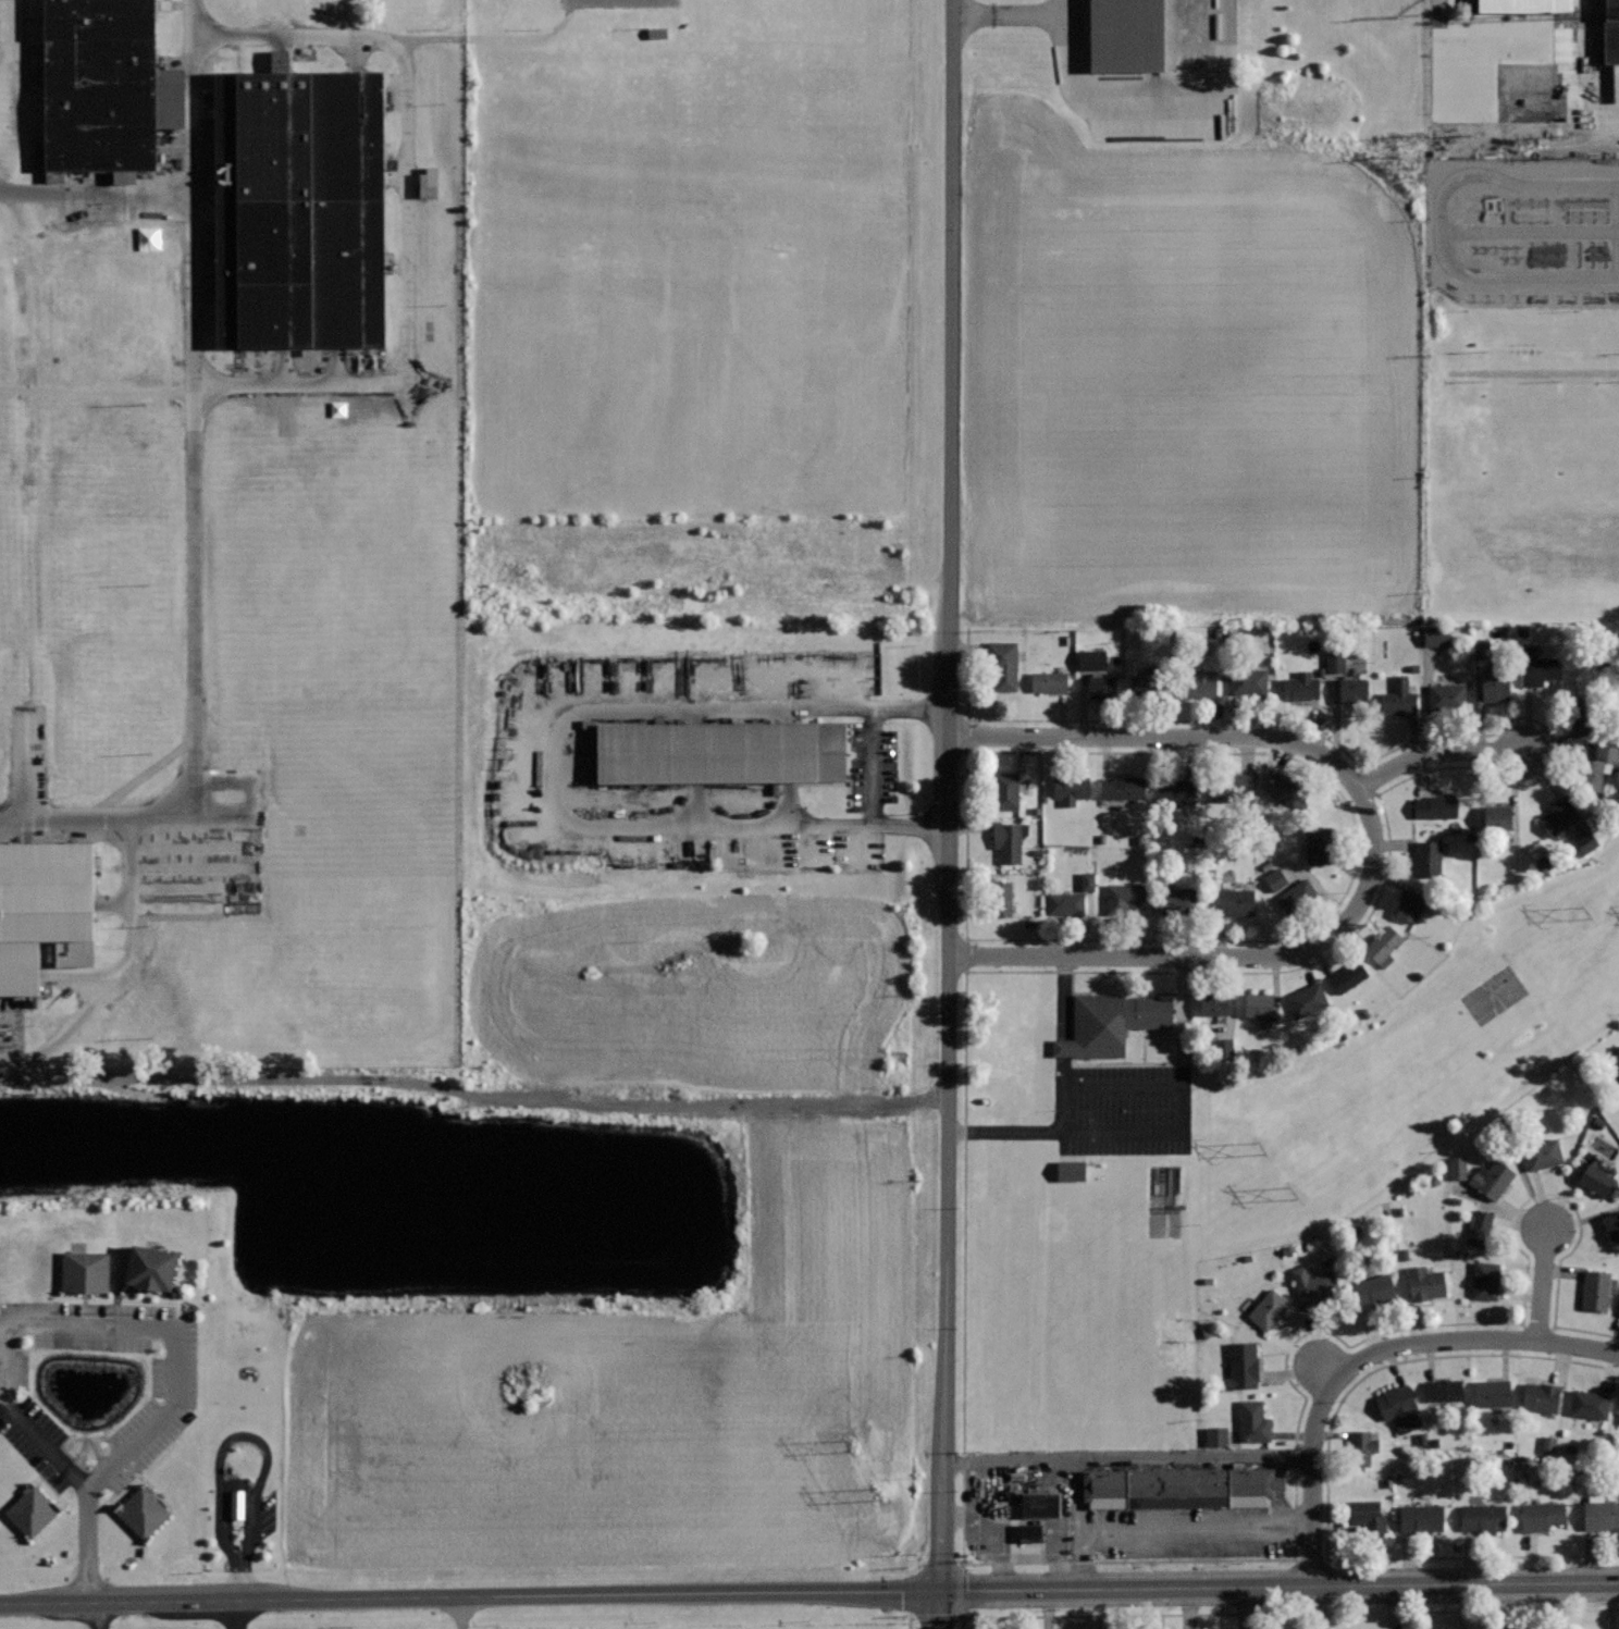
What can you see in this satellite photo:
park: (803, 1)
parking lot: (623, 4)
road: (1011, 16)
building: (1612, 28)
building: (1125, 33)
road: (489, 38)
parking lot: (1134, 62)
building: (96, 87)
parking lot: (1521, 90)
road: (1545, 91)
road: (1147, 108)
park: (533, 116)
park: (815, 124)
building: (1100, 129)
park: (631, 133)
building: (425, 183)
park: (533, 183)
road: (96, 196)
road: (1439, 202)
building: (294, 207)
road: (409, 220)
parking lot: (1523, 234)
park: (707, 259)
road: (1510, 276)
park: (812, 357)
park: (593, 360)
road: (952, 368)
road: (1531, 373)
road: (97, 386)
road: (195, 409)
building: (1434, 635)
building: (1333, 661)
building: (1003, 664)
building: (1538, 670)
building: (1147, 680)
building: (1248, 680)
building: (1049, 681)
building: (1199, 684)
building: (1102, 687)
building: (1302, 687)
building: (1494, 687)
building: (1354, 689)
building: (1447, 695)
building: (1399, 696)
building: (1582, 714)
road: (1196, 737)
building: (720, 752)
road: (1438, 752)
parking lot: (704, 763)
road: (555, 766)
building: (1596, 766)
road: (869, 767)
road: (526, 777)
building: (1233, 787)
building: (1070, 788)
building: (1123, 788)
building: (1285, 789)
building: (1006, 790)
building: (1176, 793)
building: (1435, 805)
building: (1498, 816)
building: (1557, 817)
road: (98, 820)
building: (1009, 840)
building: (1581, 840)
building: (1320, 843)
road: (845, 848)
road: (765, 849)
road: (808, 849)
building: (1429, 857)
road: (678, 861)
road: (820, 871)
building: (1273, 879)
building: (1296, 896)
building: (1000, 898)
building: (1124, 898)
building: (1179, 899)
building: (1232, 901)
building: (1065, 903)
building: (1409, 905)
building: (42, 909)
power tower: (1586, 911)
road: (1313, 926)
building: (1383, 945)
road: (1190, 957)
road: (120, 971)
building: (1349, 975)
park: (1540, 987)
park: (1494, 994)
road: (1063, 997)
parking lot: (1062, 1000)
building: (1307, 1000)
building: (1213, 1003)
building: (1260, 1004)
building: (1109, 1023)
road: (1063, 1072)
building: (1618, 1086)
road: (473, 1095)
road: (964, 1108)
parking lot: (1108, 1112)
road: (1169, 1133)
power tower: (1260, 1148)
building: (1543, 1153)
road: (947, 1164)
building: (1455, 1168)
building: (1066, 1171)
building: (1493, 1178)
building: (1596, 1178)
power tower: (1292, 1193)
building: (1480, 1227)
building: (1611, 1227)
building: (152, 1269)
building: (86, 1273)
building: (1486, 1280)
building: (1425, 1282)
road: (1543, 1285)
building: (1315, 1288)
building: (1373, 1289)
building: (1596, 1289)
building: (1269, 1308)
building: (1618, 1312)
road: (97, 1329)
road: (1369, 1356)
building: (1243, 1367)
building: (1445, 1390)
building: (1493, 1393)
building: (1542, 1395)
parking lot: (92, 1397)
building: (1590, 1404)
building: (1399, 1406)
building: (1618, 1415)
building: (1253, 1421)
road: (244, 1435)
building: (1213, 1436)
power tower: (854, 1443)
building: (1361, 1446)
road: (1327, 1476)
power tower: (885, 1485)
building: (1177, 1486)
parking lot: (240, 1501)
building: (238, 1503)
building: (1040, 1504)
building: (145, 1513)
building: (33, 1514)
building: (1542, 1515)
building: (1601, 1515)
building: (1368, 1517)
building: (1422, 1517)
building: (1483, 1517)
building: (1027, 1530)
road: (89, 1546)
road: (1280, 1587)
road: (470, 1599)
road: (940, 1611)
road: (1284, 1613)
road: (461, 1614)
road: (234, 1615)
road: (100, 1616)
road: (909, 1620)
parking lot: (233, 1621)
parking lot: (96, 1625)

